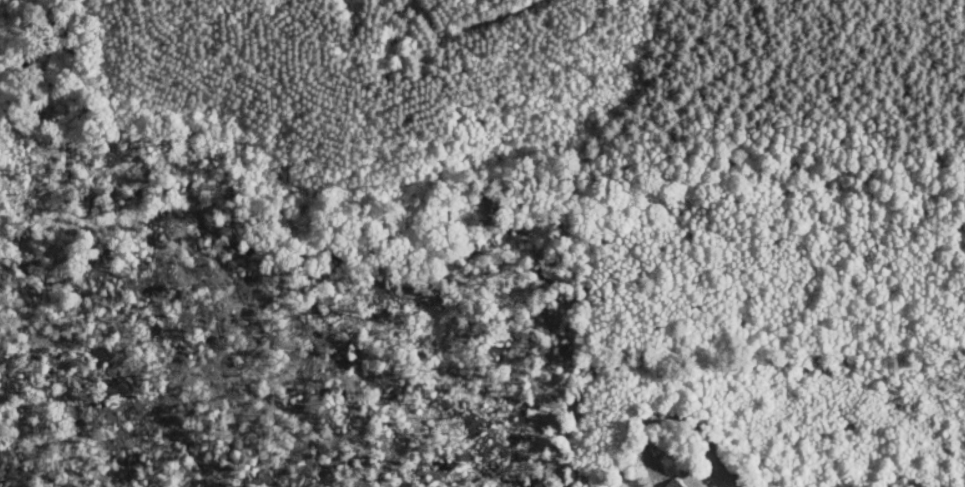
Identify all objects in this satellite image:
road: (902, 341)
building: (658, 481)

